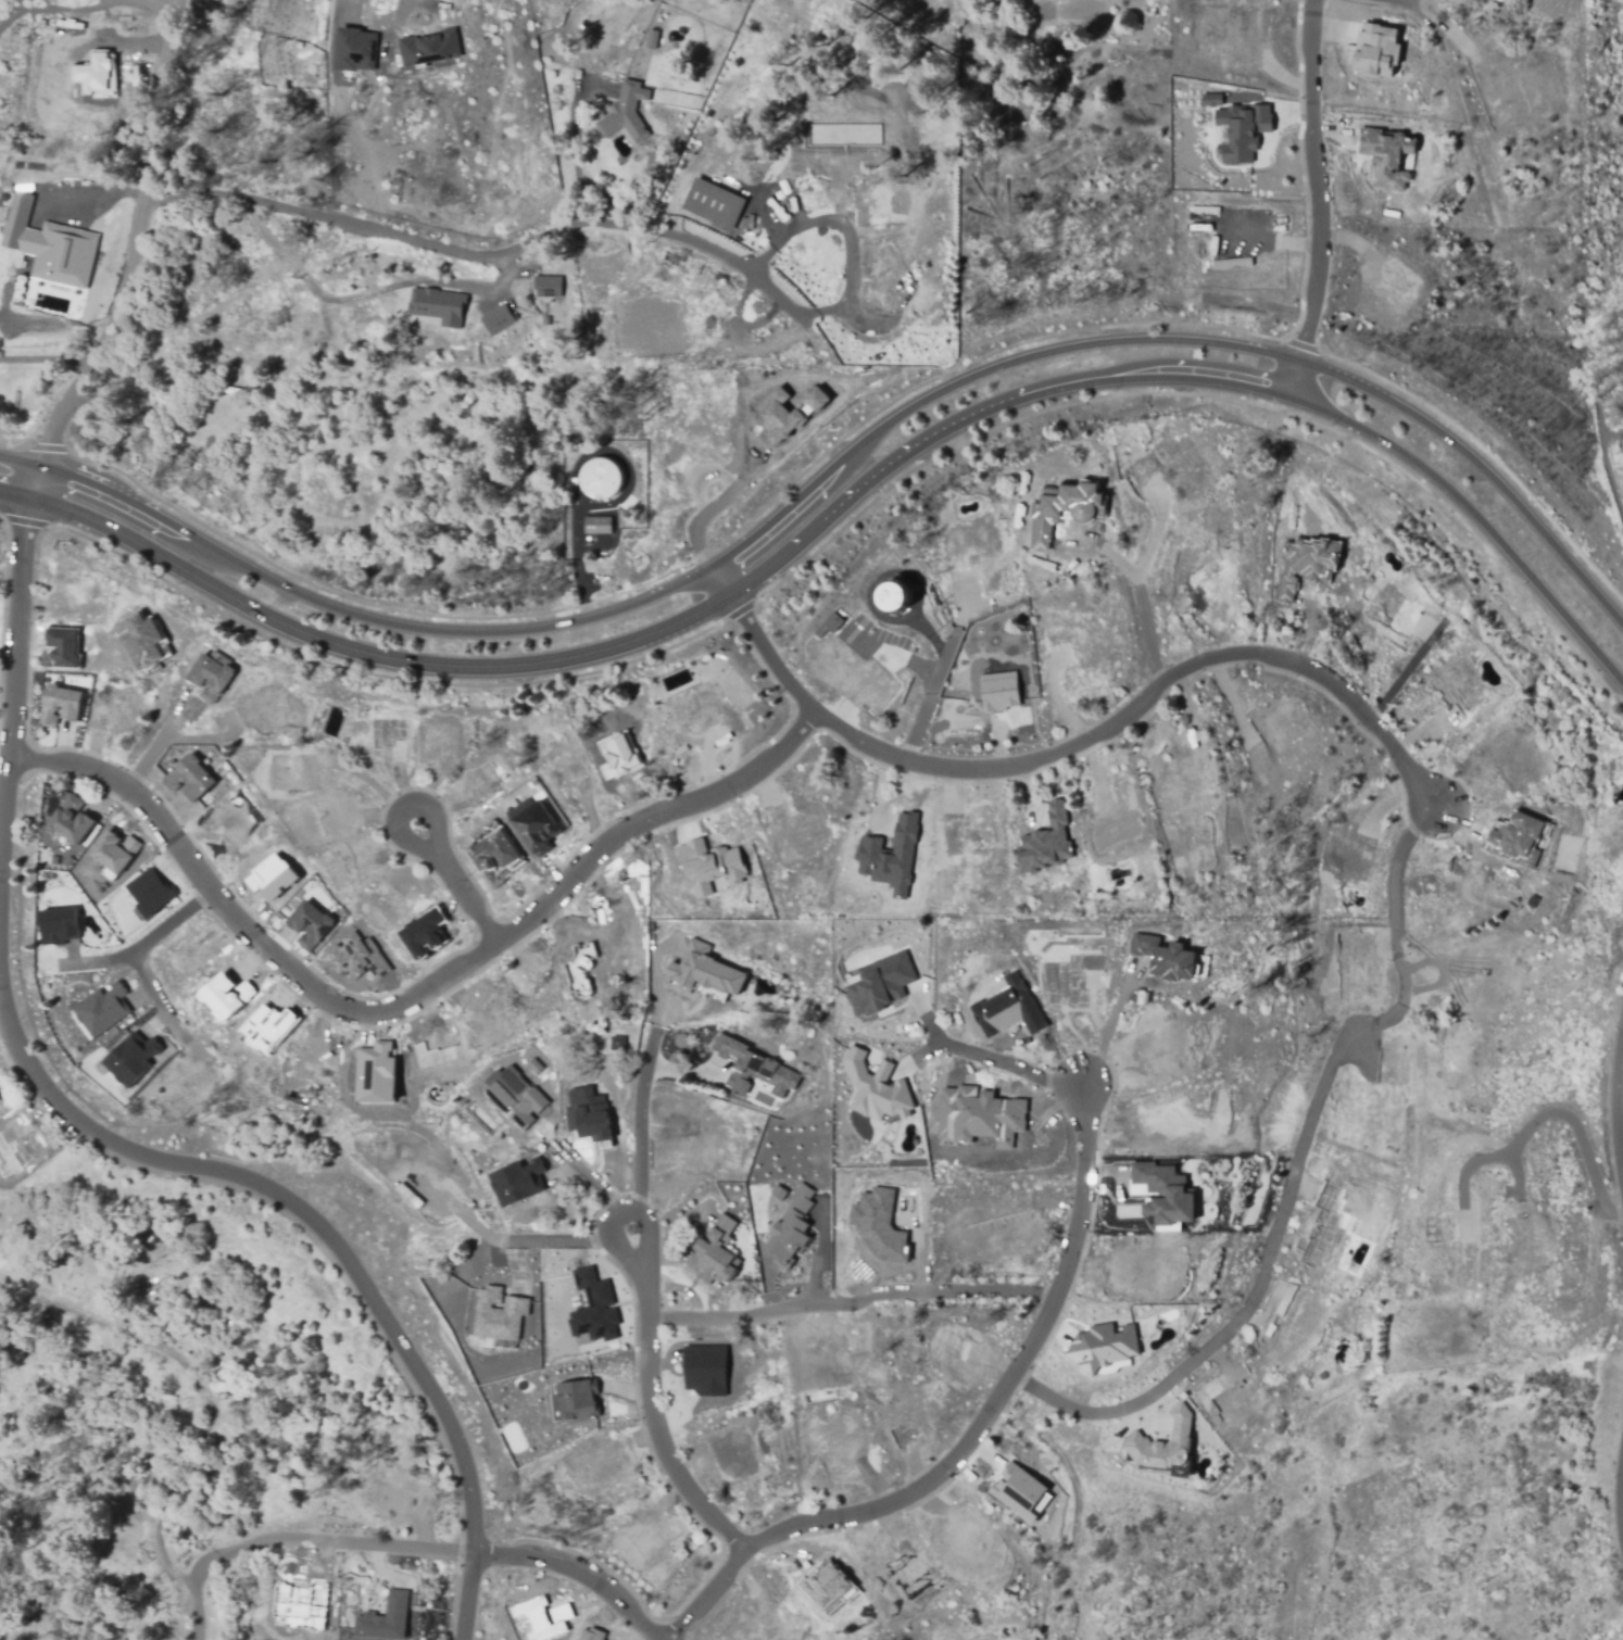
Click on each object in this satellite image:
road: (1416, 0)
road: (152, 3)
road: (1006, 8)
road: (394, 16)
building: (652, 39)
building: (355, 49)
building: (426, 50)
building: (1374, 50)
building: (95, 75)
building: (1210, 99)
building: (622, 115)
building: (1242, 130)
road: (574, 154)
building: (1385, 156)
road: (1316, 200)
building: (710, 206)
road: (106, 241)
building: (49, 245)
road: (453, 249)
building: (1231, 262)
building: (544, 287)
road: (365, 294)
building: (440, 304)
building: (496, 317)
building: (544, 319)
road: (1183, 339)
road: (46, 358)
road: (1200, 379)
building: (816, 395)
building: (776, 414)
road: (62, 416)
road: (829, 449)
road: (22, 458)
building: (600, 477)
road: (748, 478)
road: (15, 493)
building: (628, 504)
building: (1060, 508)
road: (848, 525)
building: (597, 526)
road: (1147, 542)
road: (577, 546)
building: (1311, 553)
road: (1124, 565)
building: (893, 596)
road: (366, 622)
building: (828, 622)
road: (1148, 628)
building: (143, 646)
building: (59, 647)
road: (369, 657)
road: (1406, 671)
building: (210, 676)
building: (997, 693)
road: (922, 697)
building: (60, 703)
road: (1072, 745)
road: (151, 754)
building: (617, 754)
building: (187, 778)
building: (70, 819)
building: (540, 825)
building: (1513, 840)
building: (1044, 843)
building: (112, 854)
building: (891, 855)
building: (495, 856)
building: (709, 866)
road: (448, 874)
building: (269, 876)
building: (150, 891)
building: (58, 924)
building: (318, 926)
building: (425, 932)
road: (140, 947)
building: (1165, 955)
building: (356, 957)
building: (579, 969)
building: (704, 969)
building: (881, 982)
building: (226, 996)
road: (410, 1006)
building: (101, 1007)
road: (160, 1008)
building: (1007, 1008)
building: (267, 1025)
road: (1106, 1033)
building: (616, 1043)
building: (430, 1055)
building: (130, 1057)
road: (996, 1059)
building: (531, 1065)
building: (752, 1067)
building: (377, 1073)
building: (876, 1087)
building: (514, 1095)
road: (1622, 1099)
building: (587, 1113)
building: (978, 1113)
road: (1549, 1115)
road: (640, 1126)
road: (1293, 1164)
road: (590, 1177)
building: (523, 1181)
building: (1173, 1200)
building: (883, 1224)
building: (790, 1228)
road: (543, 1242)
road: (334, 1247)
building: (716, 1253)
road: (512, 1258)
building: (591, 1307)
road: (851, 1309)
building: (498, 1313)
building: (1100, 1352)
building: (703, 1368)
building: (578, 1399)
road: (647, 1406)
road: (970, 1436)
building: (1160, 1450)
building: (1015, 1496)
road: (291, 1538)
building: (681, 1552)
road: (575, 1568)
building: (823, 1589)
building: (543, 1617)
building: (387, 1618)
building: (591, 1635)

